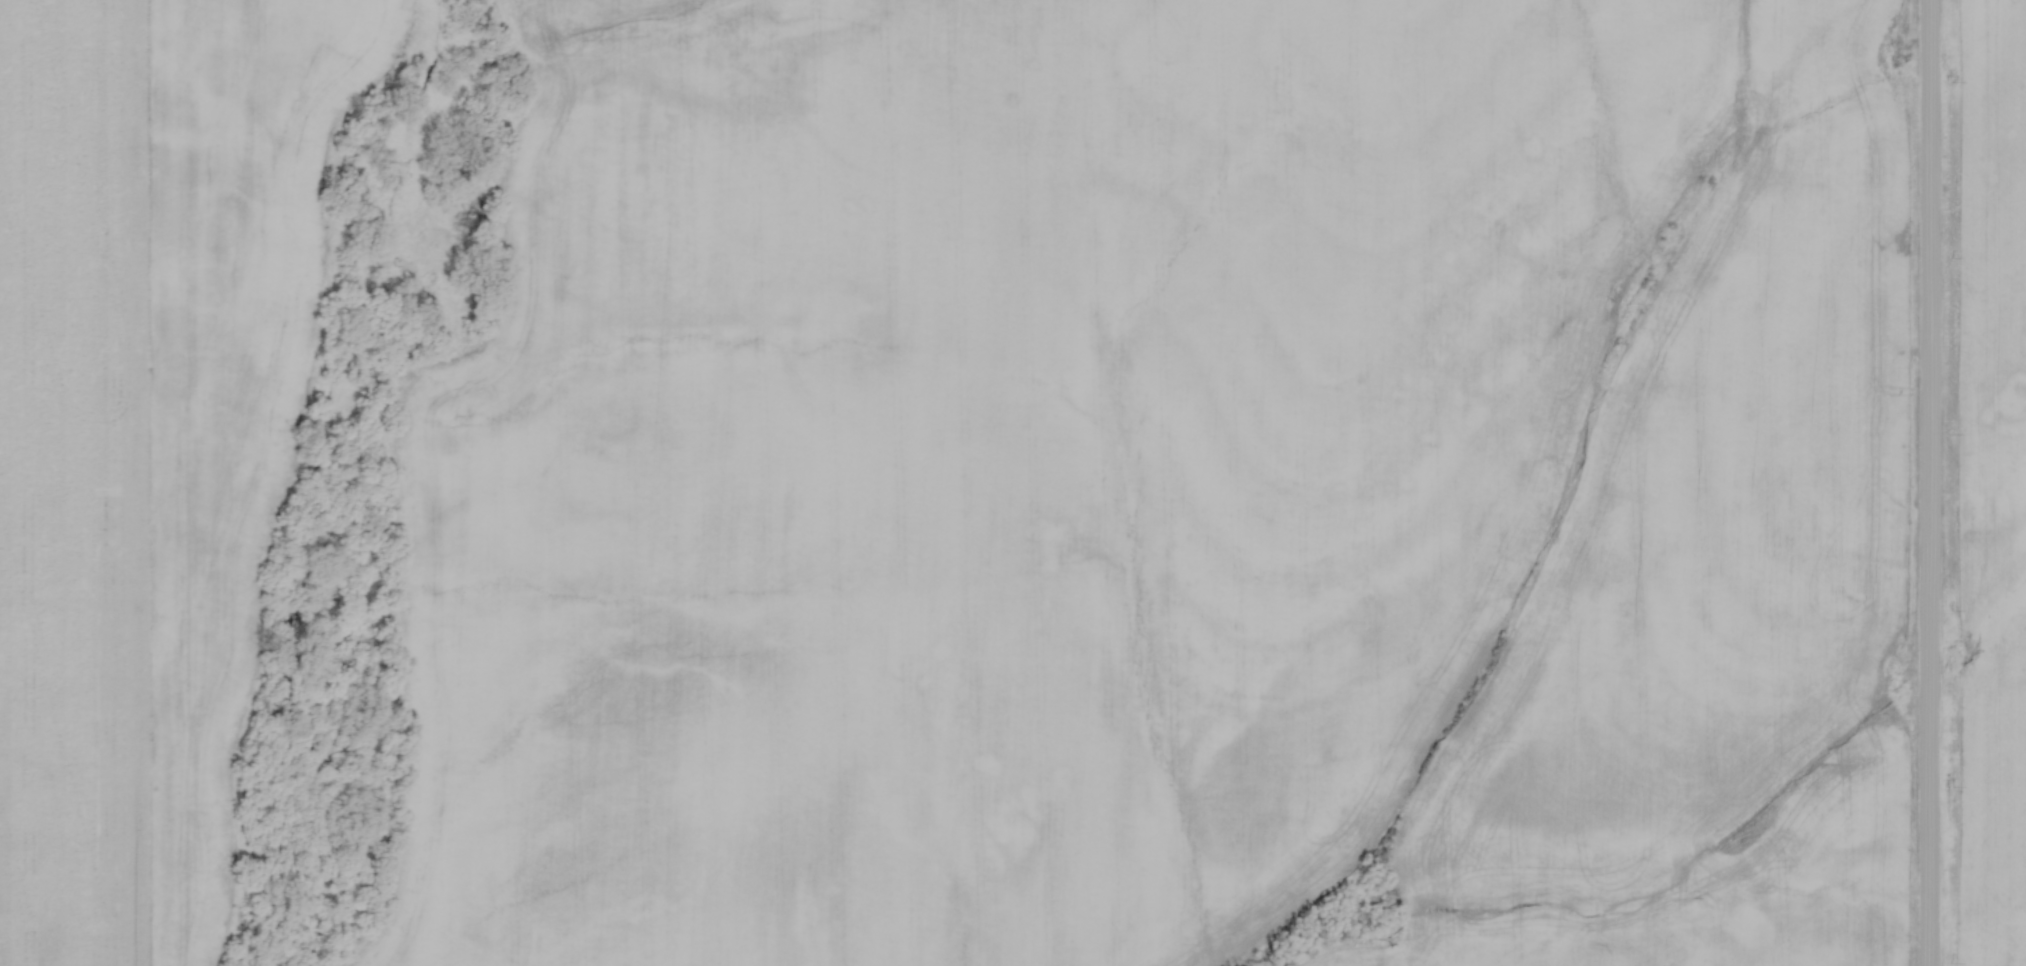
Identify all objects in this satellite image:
road: (1929, 483)

